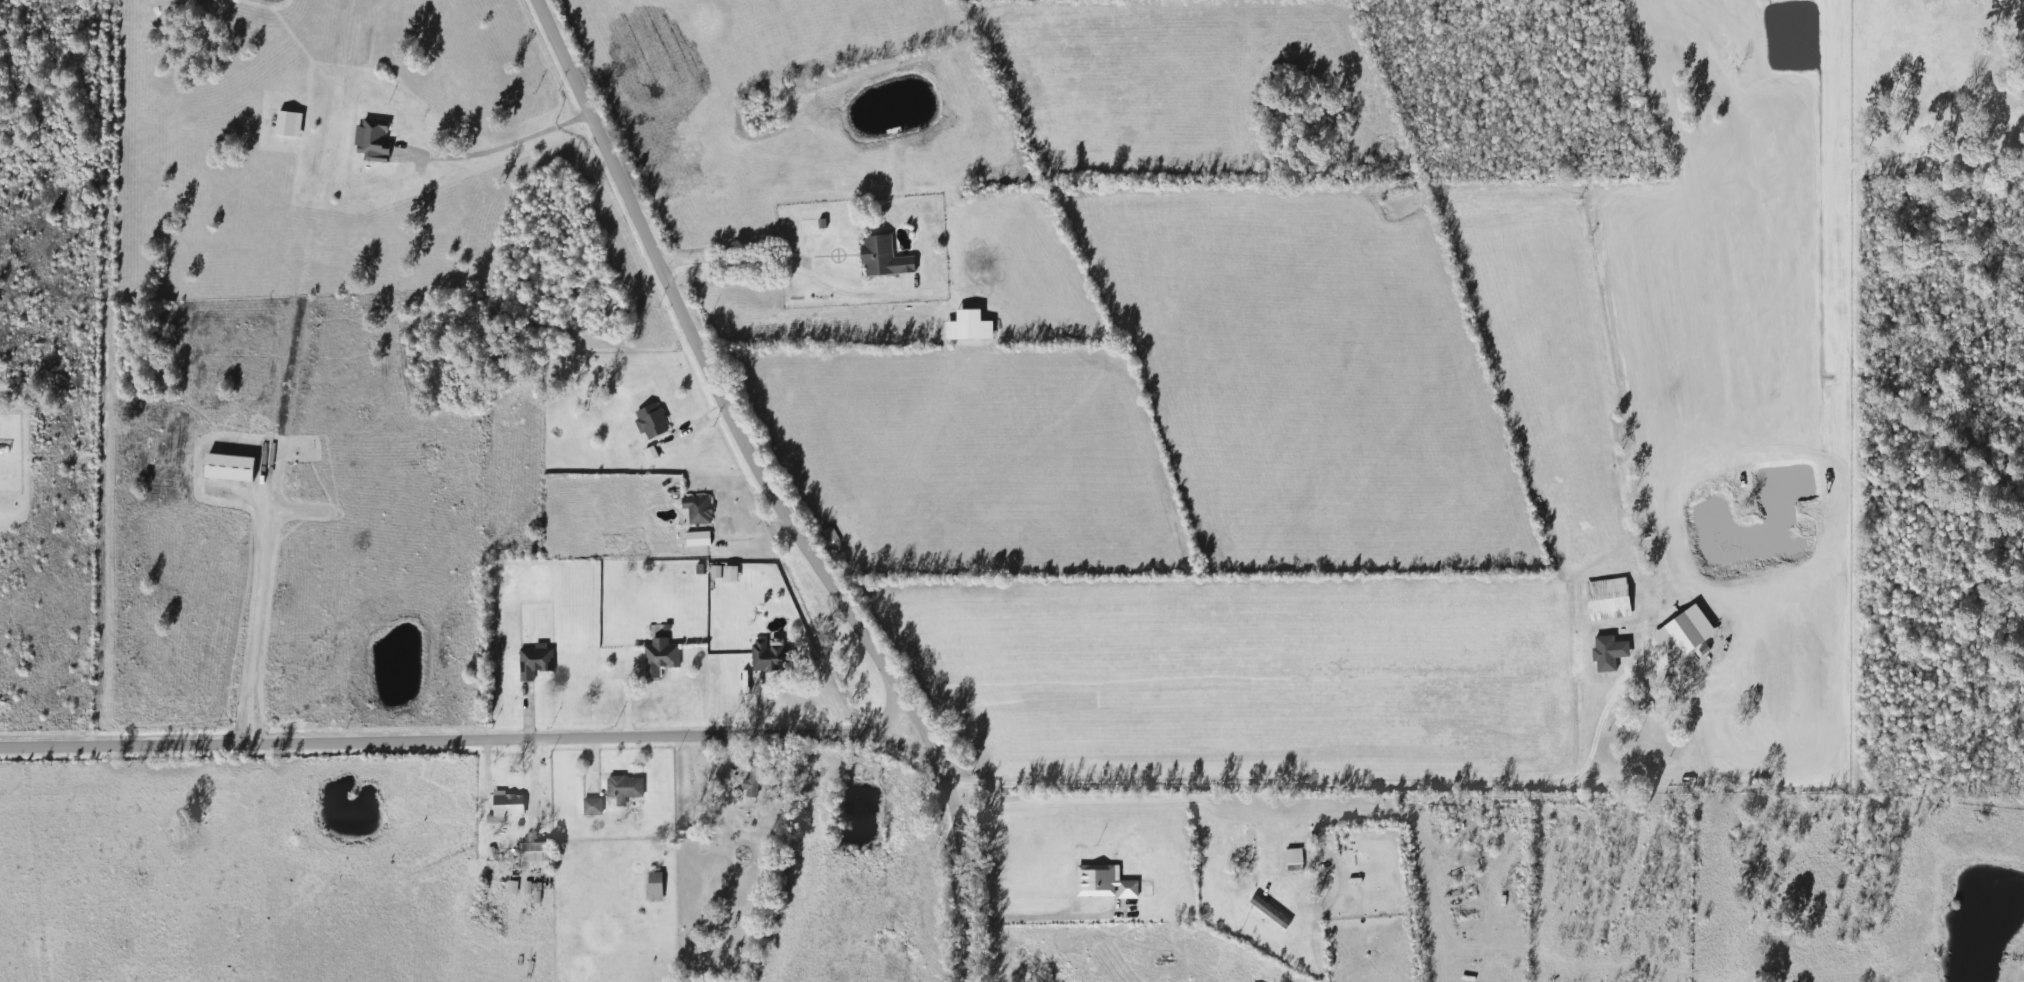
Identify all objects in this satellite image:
building: (372, 138)
road: (499, 146)
building: (811, 224)
building: (883, 256)
road: (788, 261)
building: (969, 325)
building: (651, 420)
building: (229, 466)
road: (776, 485)
building: (697, 508)
building: (1608, 598)
road: (268, 620)
building: (660, 655)
building: (770, 655)
building: (534, 660)
road: (459, 733)
building: (754, 774)
road: (1316, 784)
building: (623, 788)
building: (506, 804)
building: (591, 805)
road: (1112, 805)
building: (533, 850)
building: (1293, 856)
building: (1103, 882)
building: (655, 884)
road: (1046, 923)

